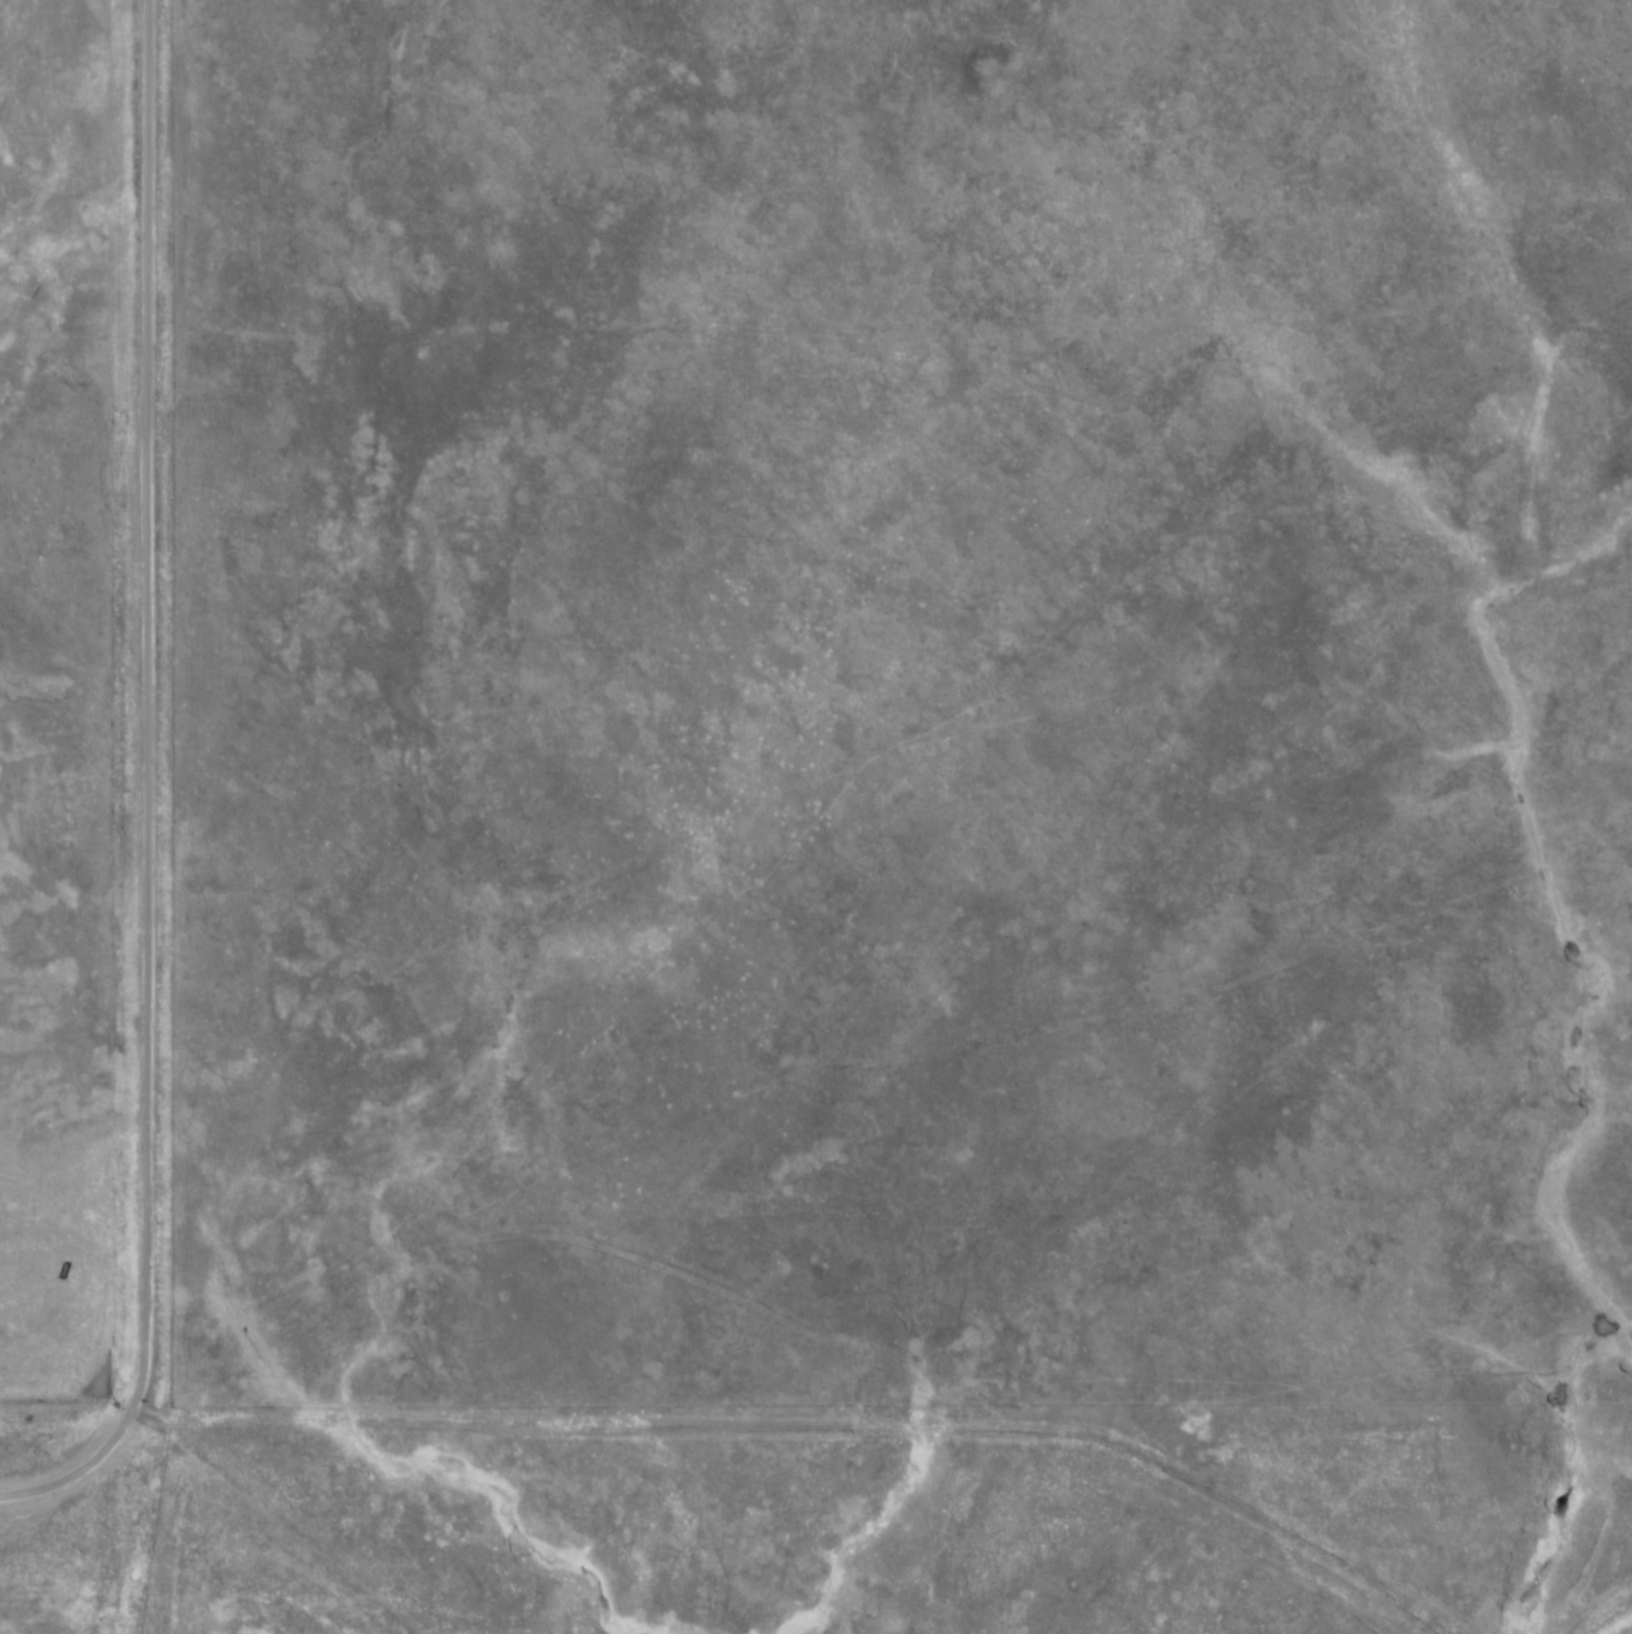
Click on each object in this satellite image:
road: (138, 702)

